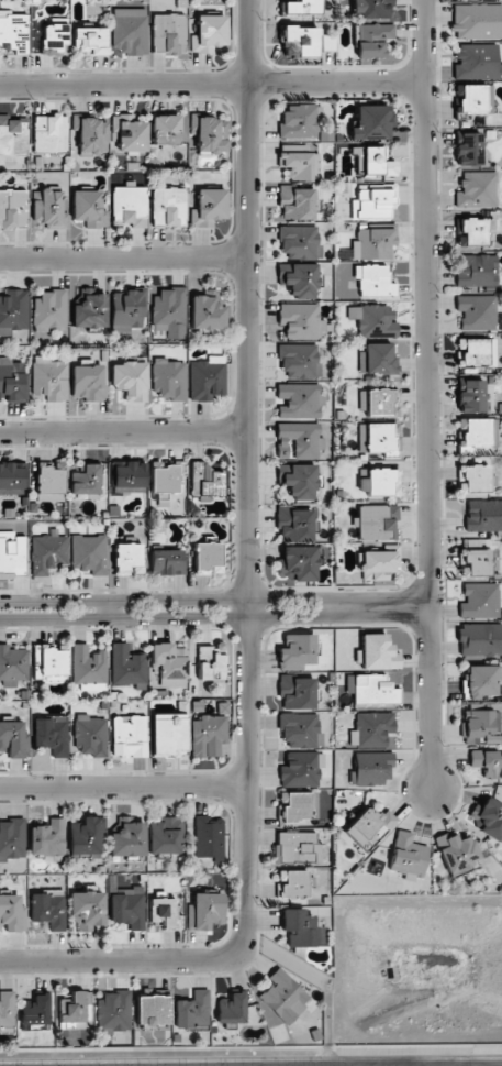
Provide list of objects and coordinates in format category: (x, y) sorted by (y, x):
building: (300, 8)
building: (372, 8)
building: (477, 21)
building: (130, 31)
building: (13, 32)
building: (168, 33)
building: (209, 33)
building: (54, 35)
building: (90, 40)
building: (372, 40)
building: (299, 42)
building: (477, 62)
road: (213, 84)
building: (470, 99)
building: (299, 121)
building: (372, 122)
building: (166, 129)
building: (49, 133)
building: (131, 134)
building: (211, 134)
building: (92, 135)
building: (12, 140)
building: (469, 150)
building: (299, 162)
building: (376, 163)
building: (477, 189)
building: (371, 201)
building: (297, 202)
building: (168, 206)
building: (129, 207)
building: (12, 208)
building: (89, 208)
building: (208, 208)
building: (49, 210)
building: (478, 231)
building: (299, 241)
building: (373, 243)
road: (123, 257)
building: (477, 270)
building: (298, 281)
building: (373, 281)
building: (49, 308)
building: (89, 308)
building: (129, 310)
building: (13, 311)
building: (208, 311)
building: (477, 311)
building: (169, 312)
building: (372, 320)
building: (301, 321)
building: (471, 351)
building: (377, 359)
building: (299, 360)
building: (208, 378)
building: (12, 380)
building: (48, 380)
building: (130, 380)
building: (168, 380)
building: (88, 382)
road: (430, 394)
building: (471, 396)
building: (300, 400)
building: (378, 403)
road: (124, 431)
building: (473, 432)
building: (381, 438)
building: (298, 440)
building: (12, 477)
building: (129, 479)
building: (473, 479)
building: (87, 480)
building: (168, 480)
building: (205, 481)
building: (49, 482)
building: (379, 482)
building: (482, 515)
building: (377, 521)
building: (294, 524)
building: (47, 553)
building: (89, 553)
building: (11, 554)
building: (129, 559)
building: (207, 559)
building: (477, 561)
building: (166, 562)
building: (299, 563)
building: (379, 564)
road: (248, 597)
road: (176, 600)
building: (480, 601)
road: (372, 606)
road: (111, 608)
road: (156, 615)
building: (480, 639)
building: (297, 651)
building: (378, 652)
building: (49, 662)
building: (211, 662)
building: (169, 663)
building: (13, 666)
building: (89, 666)
building: (127, 667)
building: (481, 681)
building: (371, 690)
building: (297, 692)
building: (481, 722)
building: (300, 729)
building: (371, 729)
building: (52, 735)
building: (91, 735)
building: (169, 735)
building: (208, 735)
building: (130, 736)
building: (14, 739)
building: (487, 763)
building: (301, 768)
building: (371, 768)
road: (124, 788)
building: (295, 806)
building: (489, 818)
building: (369, 827)
building: (165, 836)
building: (208, 836)
building: (47, 837)
building: (12, 838)
building: (87, 838)
building: (127, 840)
building: (297, 847)
building: (457, 851)
building: (408, 856)
building: (292, 884)
building: (129, 908)
building: (48, 909)
building: (87, 909)
building: (164, 911)
building: (204, 911)
building: (12, 913)
building: (298, 927)
building: (281, 999)
building: (7, 1008)
building: (232, 1009)
building: (75, 1010)
building: (192, 1010)
building: (35, 1011)
building: (113, 1012)
building: (152, 1012)
road: (379, 1065)
road: (439, 1065)
road: (470, 1065)

